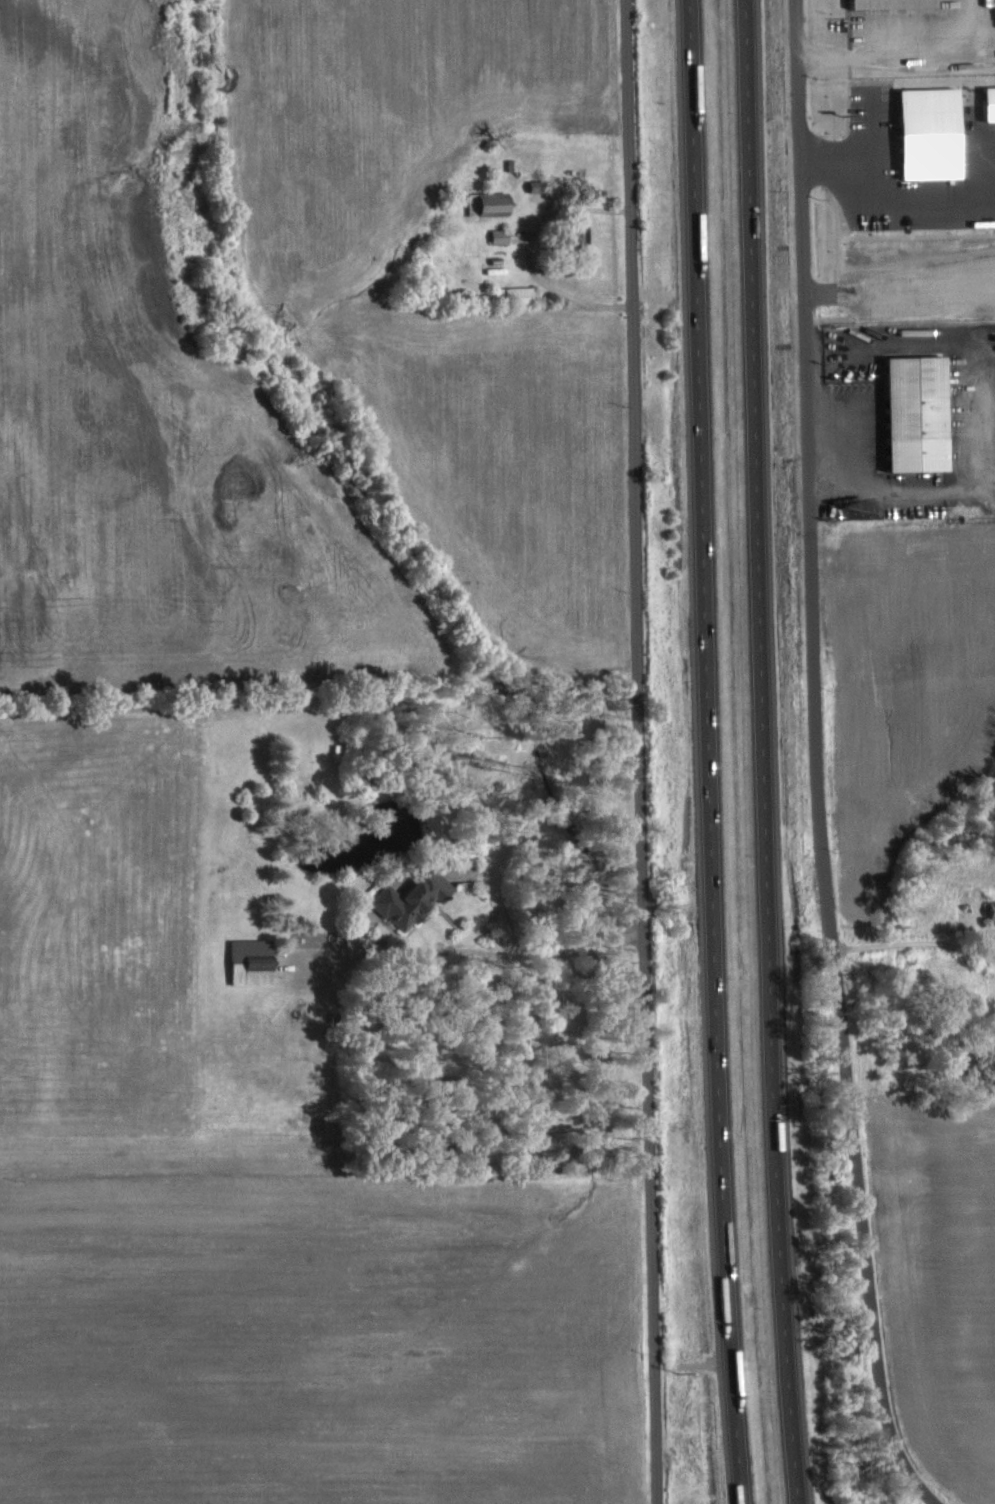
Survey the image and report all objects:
building: (898, 4)
building: (992, 104)
building: (935, 134)
building: (541, 186)
building: (583, 235)
building: (504, 236)
building: (524, 294)
road: (563, 300)
building: (923, 412)
road: (809, 473)
road: (642, 752)
road: (710, 752)
road: (765, 752)
building: (416, 899)
building: (993, 911)
road: (915, 950)
road: (545, 953)
building: (256, 961)
road: (862, 1231)

